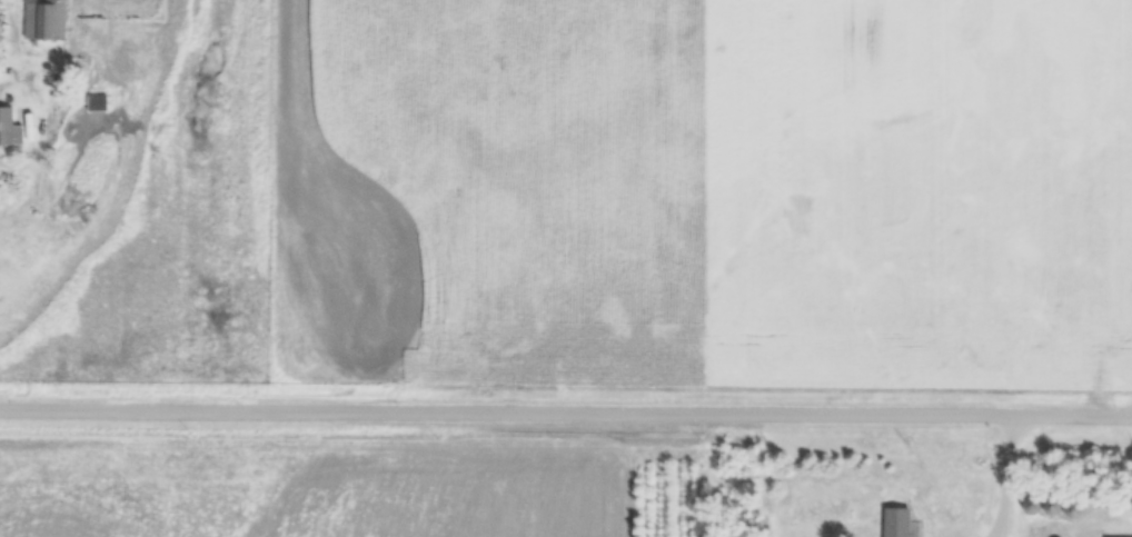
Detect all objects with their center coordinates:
building: (42, 20)
building: (95, 103)
building: (4, 126)
road: (566, 411)
road: (1009, 477)
crop: (302, 493)
building: (893, 523)

